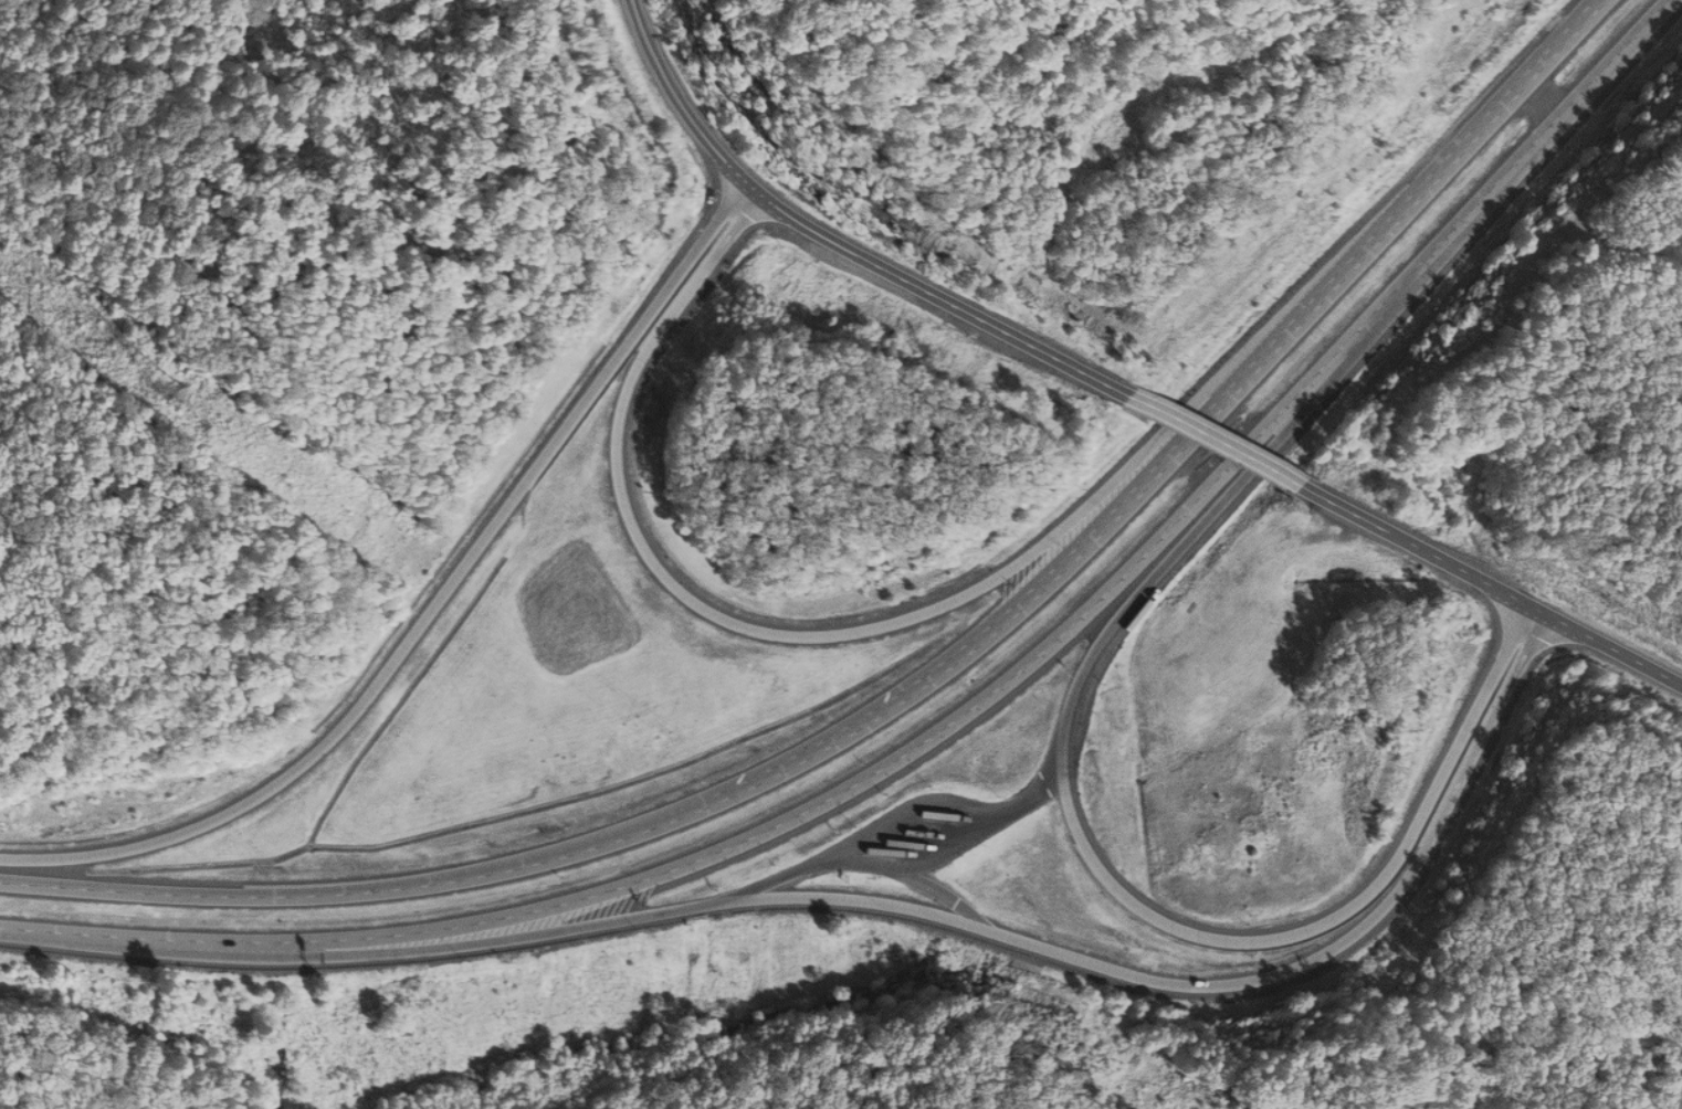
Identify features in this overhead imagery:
road: (833, 245)
power tower: (175, 384)
road: (1218, 441)
road: (1495, 587)
building: (1133, 605)
road: (430, 611)
road: (703, 611)
road: (917, 678)
road: (958, 711)
road: (1096, 875)
road: (1001, 943)

